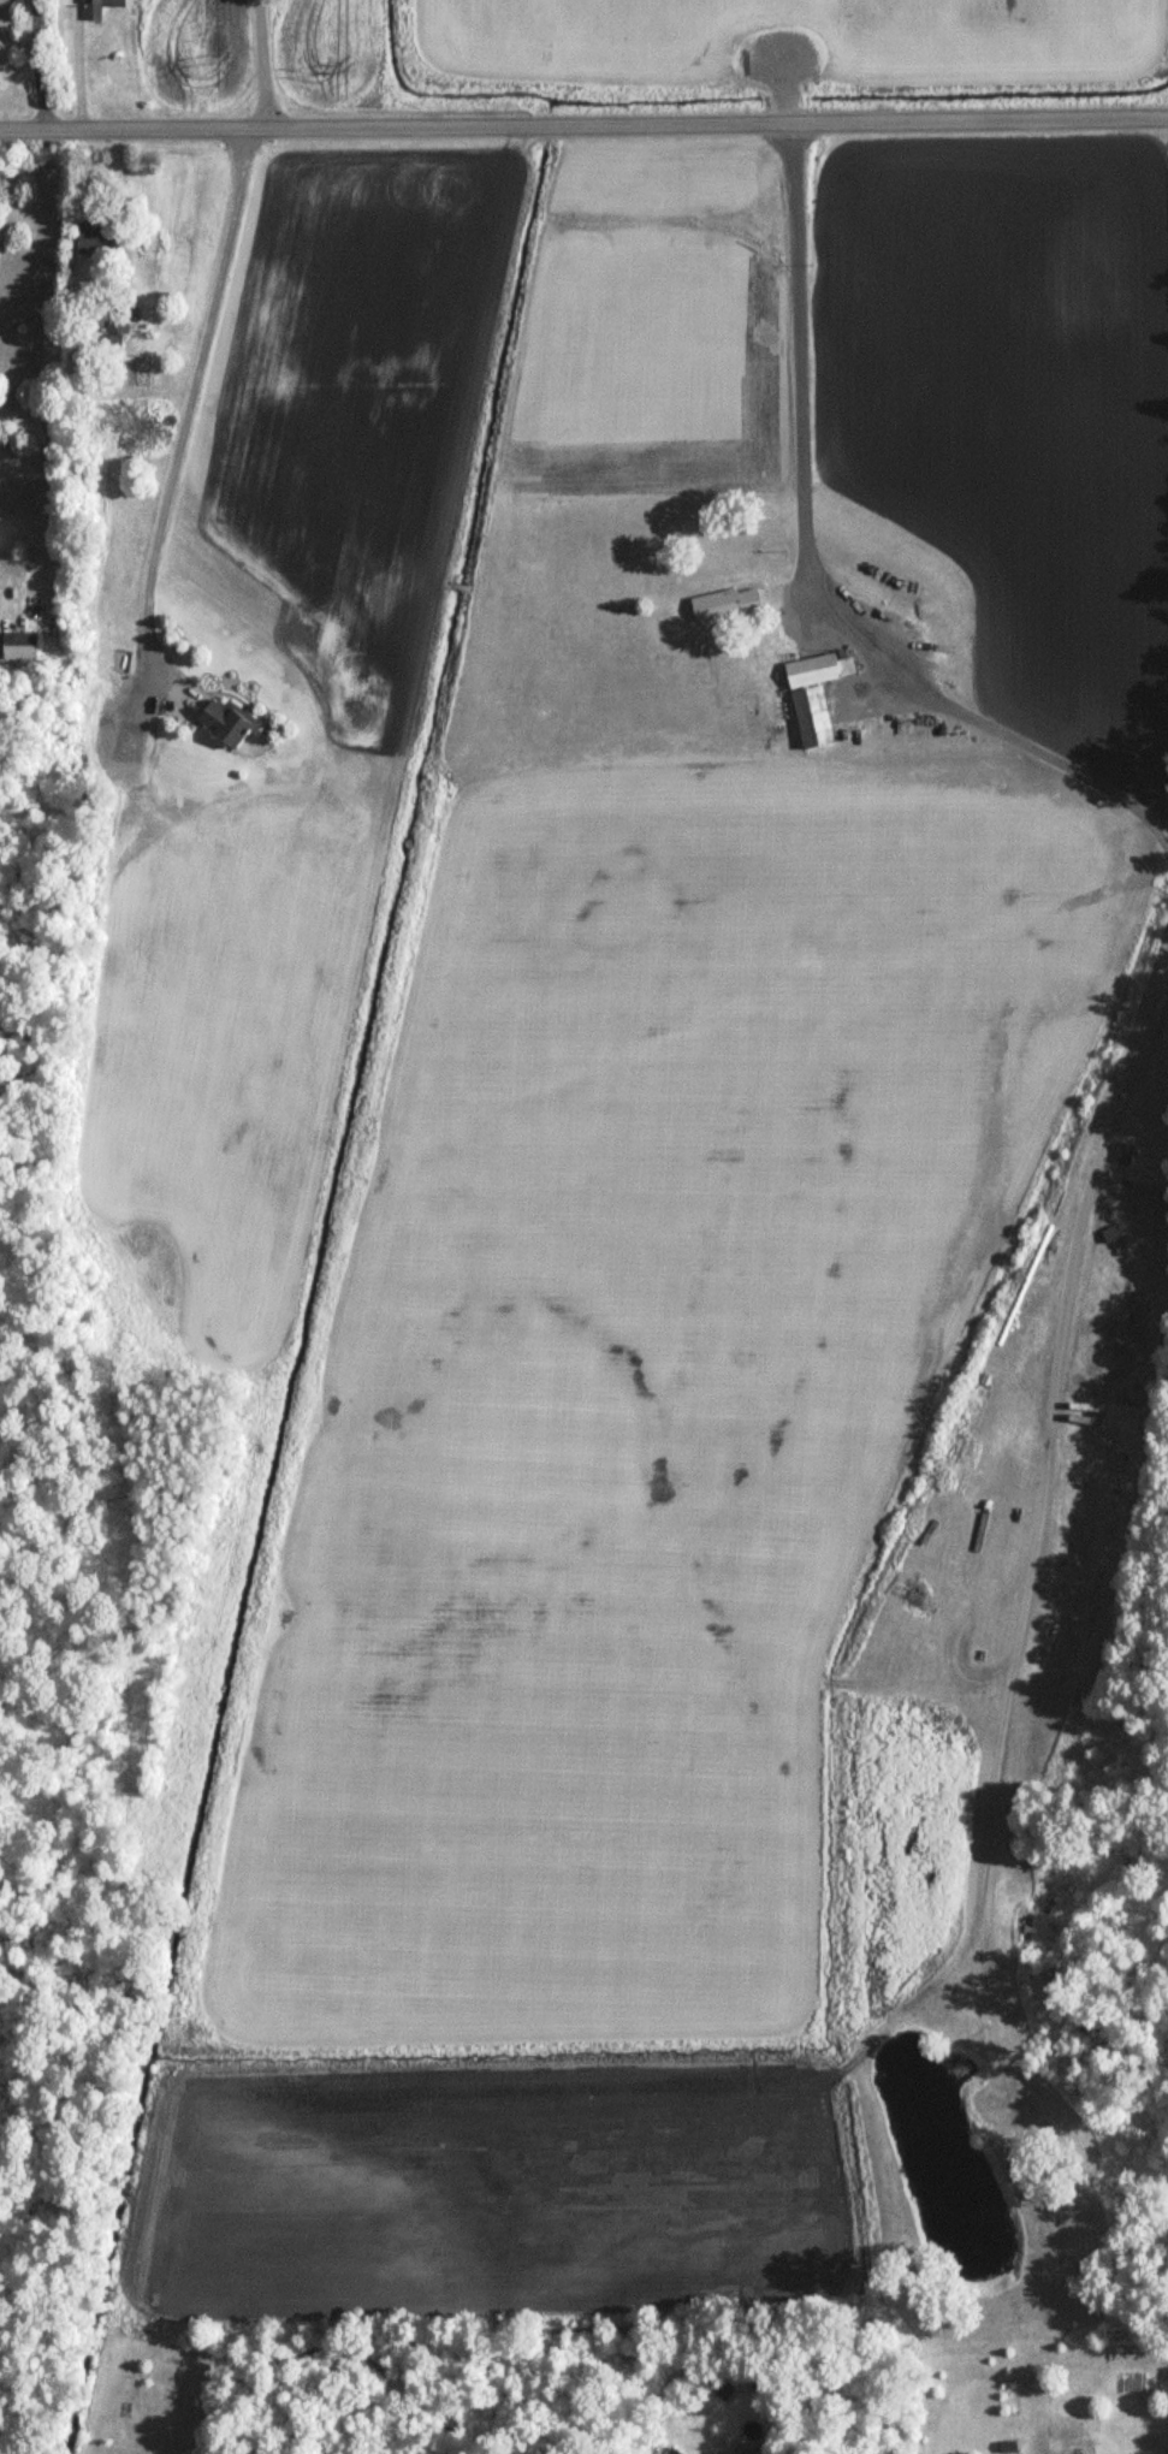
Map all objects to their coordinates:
building: (100, 8)
road: (263, 63)
road: (37, 64)
road: (79, 64)
road: (583, 125)
building: (93, 235)
building: (117, 322)
road: (183, 402)
road: (801, 577)
building: (724, 606)
building: (18, 647)
building: (813, 697)
building: (224, 725)
building: (1122, 1156)
road: (1081, 1190)
building: (1108, 1237)
building: (1081, 1409)
building: (711, 2453)

